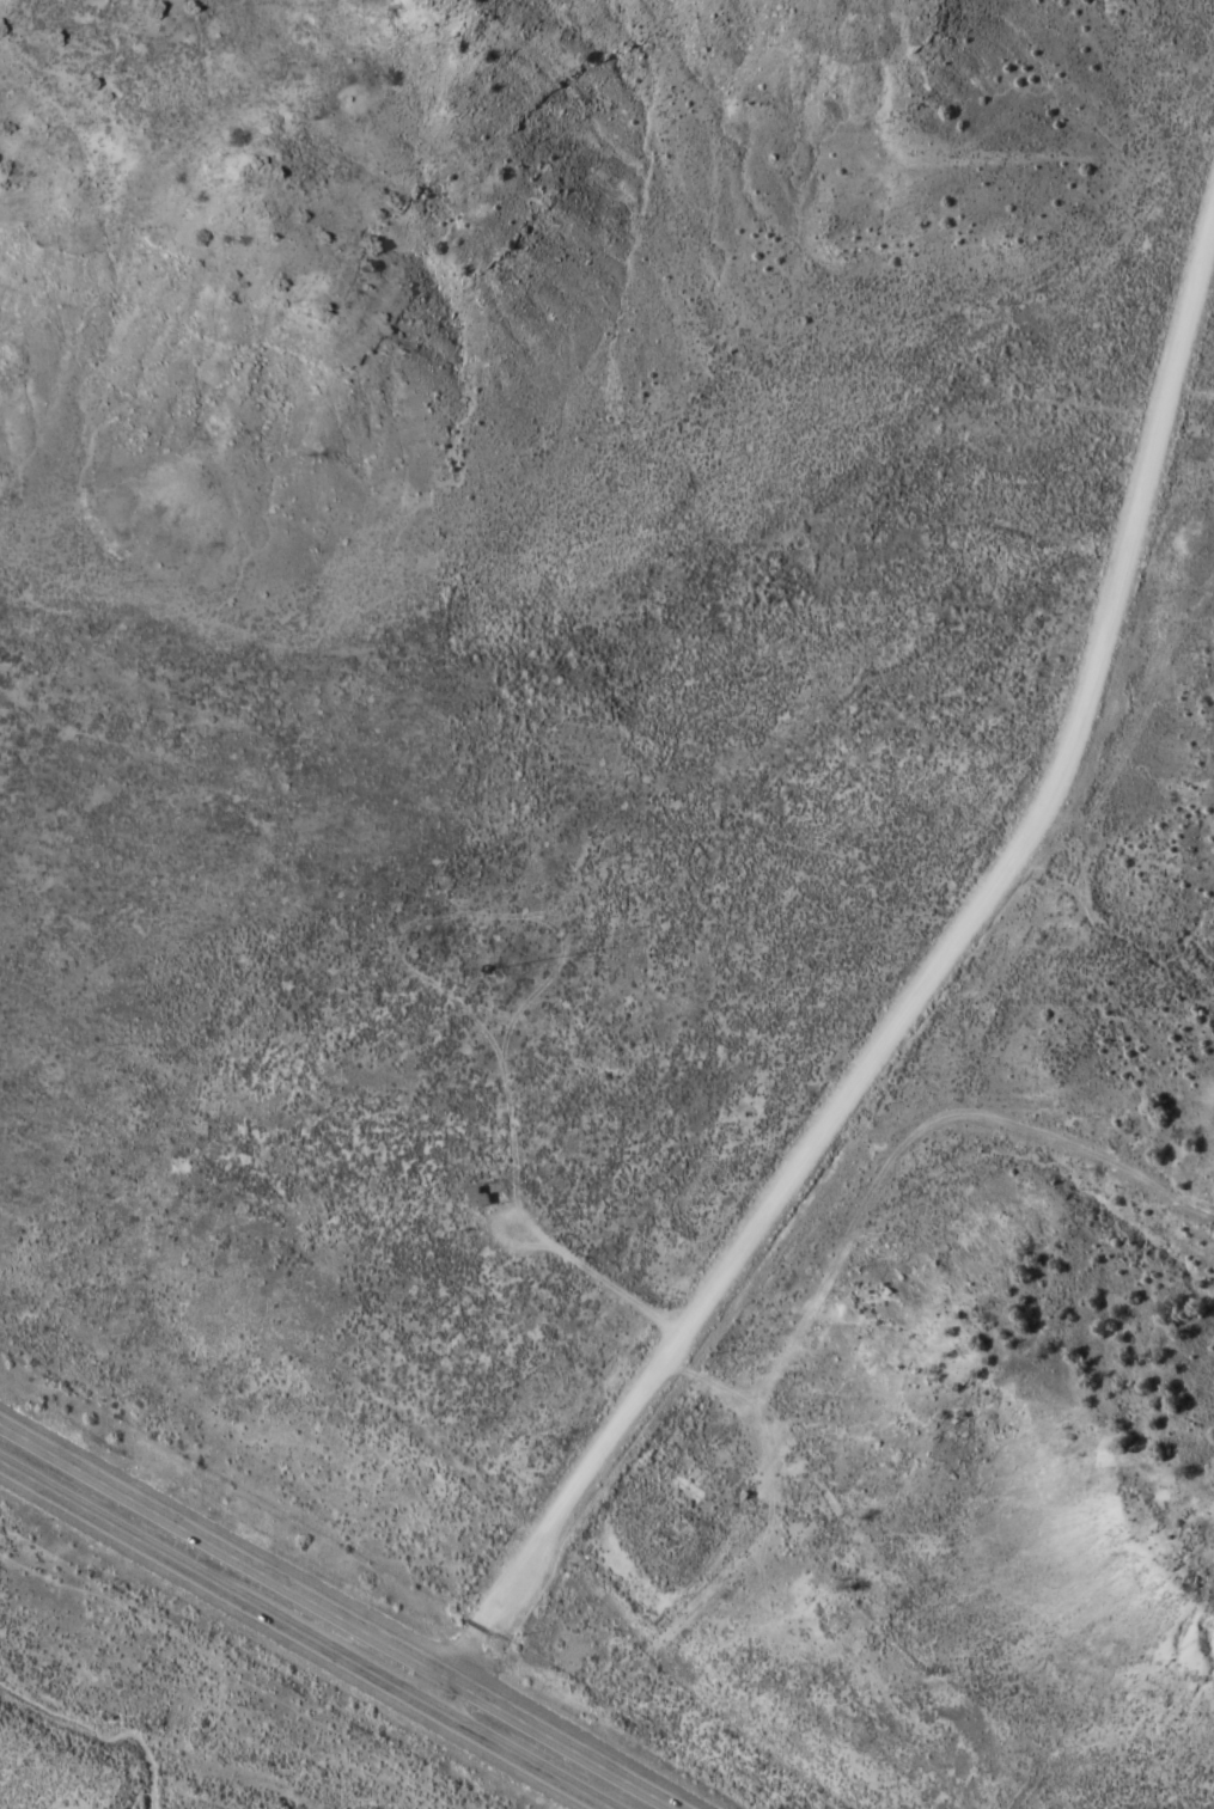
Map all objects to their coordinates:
road: (910, 1014)
building: (480, 1197)
road: (338, 1615)
road: (303, 1636)

